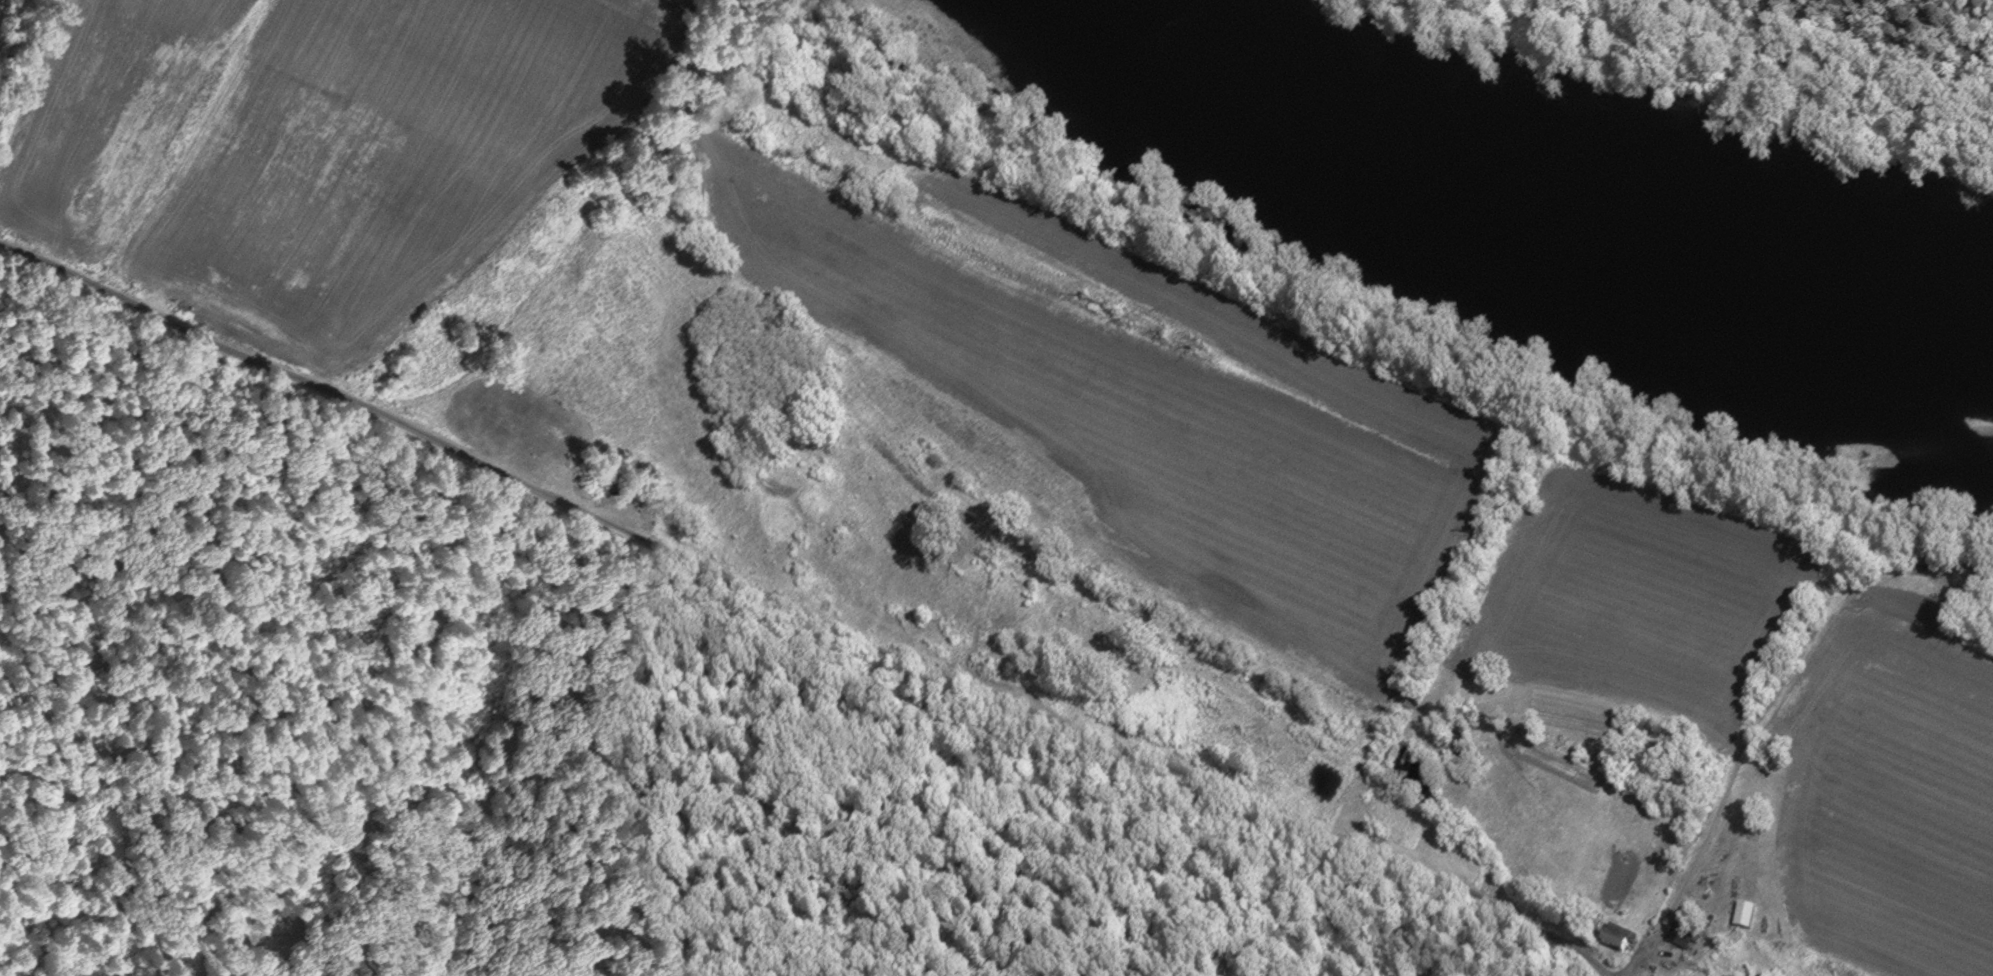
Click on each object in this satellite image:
road: (1790, 66)
river: (1543, 198)
road: (796, 610)
building: (1618, 937)

